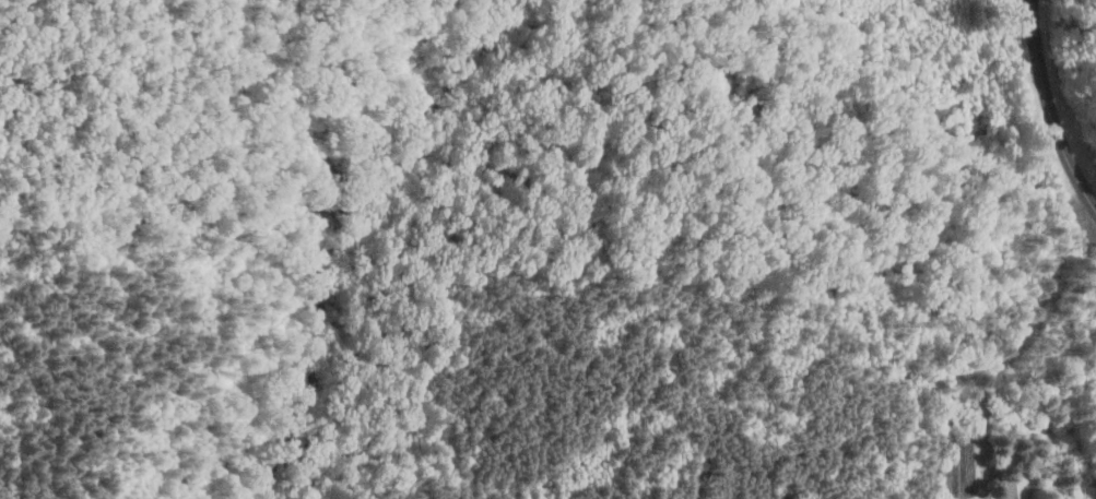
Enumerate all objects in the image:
road: (1037, 48)
road: (932, 126)
road: (1066, 153)
road: (1086, 292)
building: (1012, 487)

